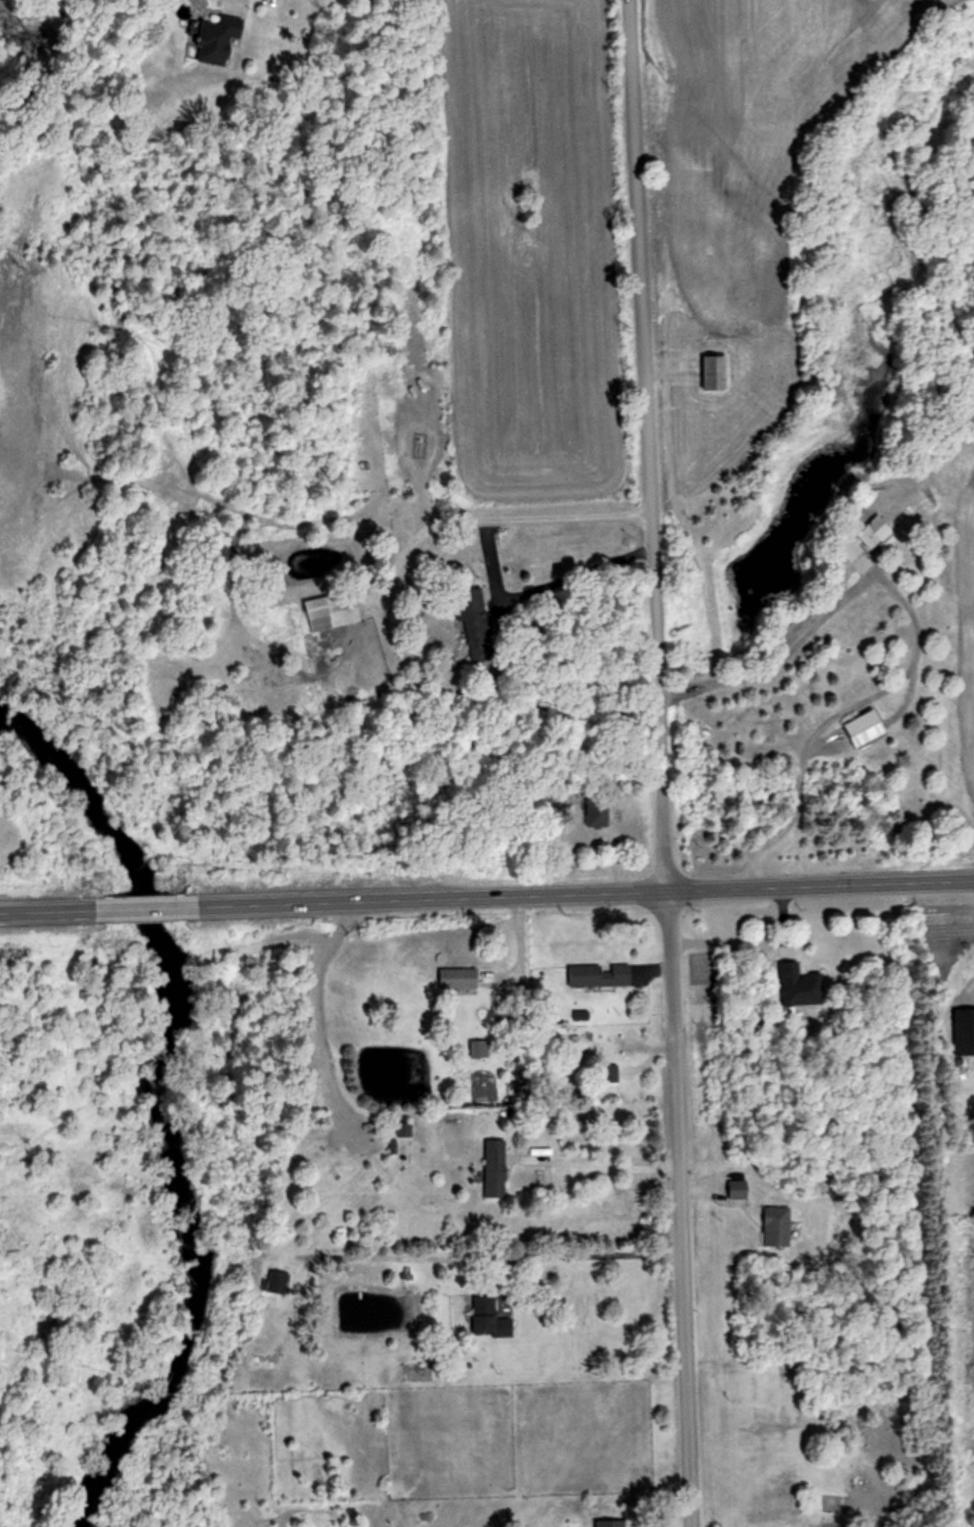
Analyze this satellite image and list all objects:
building: (219, 42)
building: (717, 372)
building: (874, 532)
building: (850, 549)
road: (490, 552)
building: (473, 603)
building: (334, 612)
building: (471, 628)
road: (915, 631)
building: (866, 729)
road: (657, 763)
building: (596, 814)
road: (487, 895)
road: (748, 941)
building: (600, 975)
building: (459, 979)
building: (796, 987)
road: (309, 1006)
building: (965, 1031)
building: (626, 1044)
building: (480, 1049)
road: (609, 1173)
building: (495, 1174)
building: (737, 1189)
building: (776, 1227)
road: (593, 1256)
building: (277, 1282)
building: (489, 1318)

